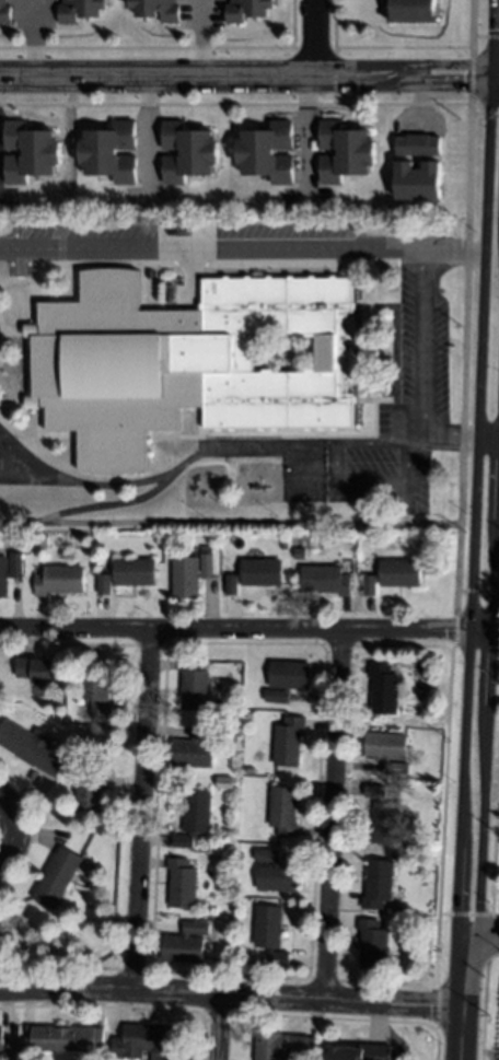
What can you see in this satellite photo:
building: (79, 9)
building: (414, 9)
building: (5, 11)
building: (148, 11)
building: (258, 11)
road: (484, 35)
road: (34, 39)
road: (202, 39)
road: (316, 39)
road: (245, 79)
road: (495, 80)
road: (484, 114)
road: (146, 139)
road: (305, 139)
building: (419, 142)
building: (31, 149)
building: (346, 149)
building: (111, 150)
building: (187, 150)
building: (267, 150)
road: (67, 165)
building: (418, 177)
road: (209, 249)
road: (452, 251)
road: (463, 261)
building: (192, 361)
road: (421, 380)
road: (473, 471)
road: (77, 484)
road: (117, 503)
road: (228, 523)
building: (40, 538)
building: (300, 552)
building: (127, 574)
building: (11, 575)
building: (189, 575)
building: (255, 575)
building: (394, 575)
road: (454, 575)
building: (59, 581)
building: (325, 581)
road: (244, 628)
building: (36, 671)
building: (288, 679)
building: (194, 686)
building: (384, 689)
road: (486, 690)
building: (98, 696)
building: (288, 742)
building: (32, 748)
building: (196, 749)
building: (388, 750)
building: (92, 794)
road: (143, 807)
building: (283, 812)
road: (335, 816)
building: (195, 817)
building: (384, 817)
road: (5, 831)
building: (429, 847)
building: (275, 873)
building: (57, 877)
building: (182, 884)
building: (378, 884)
building: (269, 932)
building: (1, 933)
road: (483, 941)
building: (186, 944)
building: (372, 945)
road: (232, 995)
road: (465, 1001)
road: (219, 1027)
building: (1, 1039)
building: (67, 1039)
building: (147, 1041)
building: (283, 1047)
building: (18, 1049)
building: (362, 1051)

